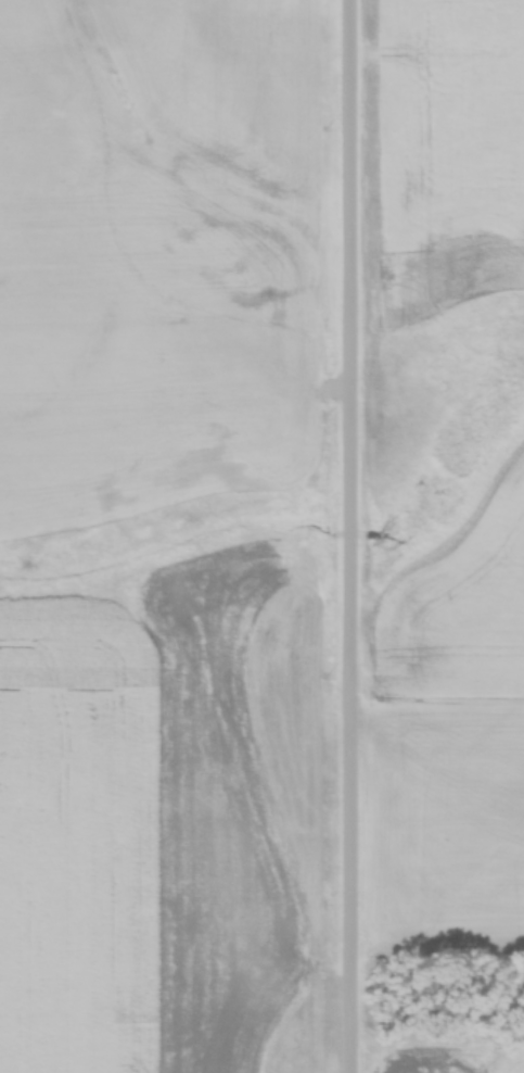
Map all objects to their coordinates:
road: (356, 536)

